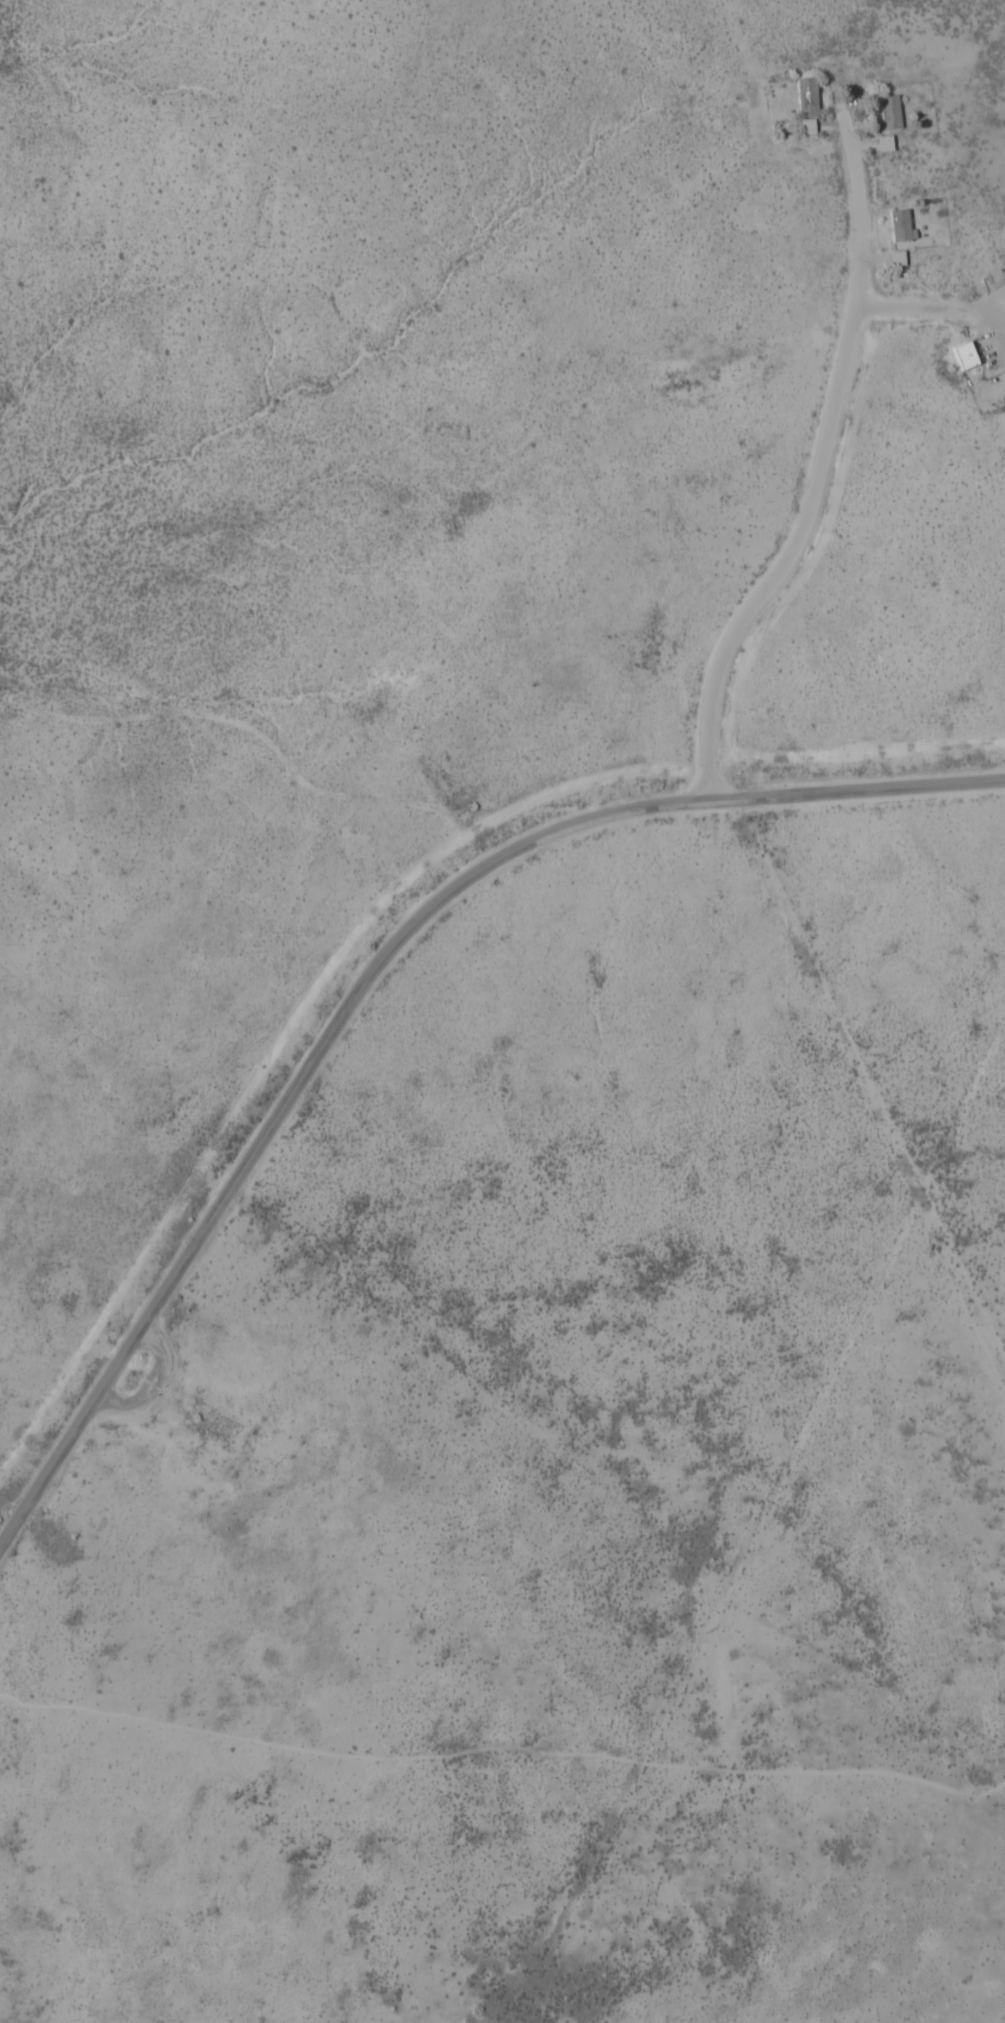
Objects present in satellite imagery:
building: (801, 95)
building: (883, 113)
building: (800, 125)
building: (878, 143)
building: (893, 224)
building: (890, 257)
building: (1004, 294)
road: (917, 309)
building: (958, 354)
road: (818, 457)
road: (372, 965)
road: (148, 1382)
road: (503, 1747)

